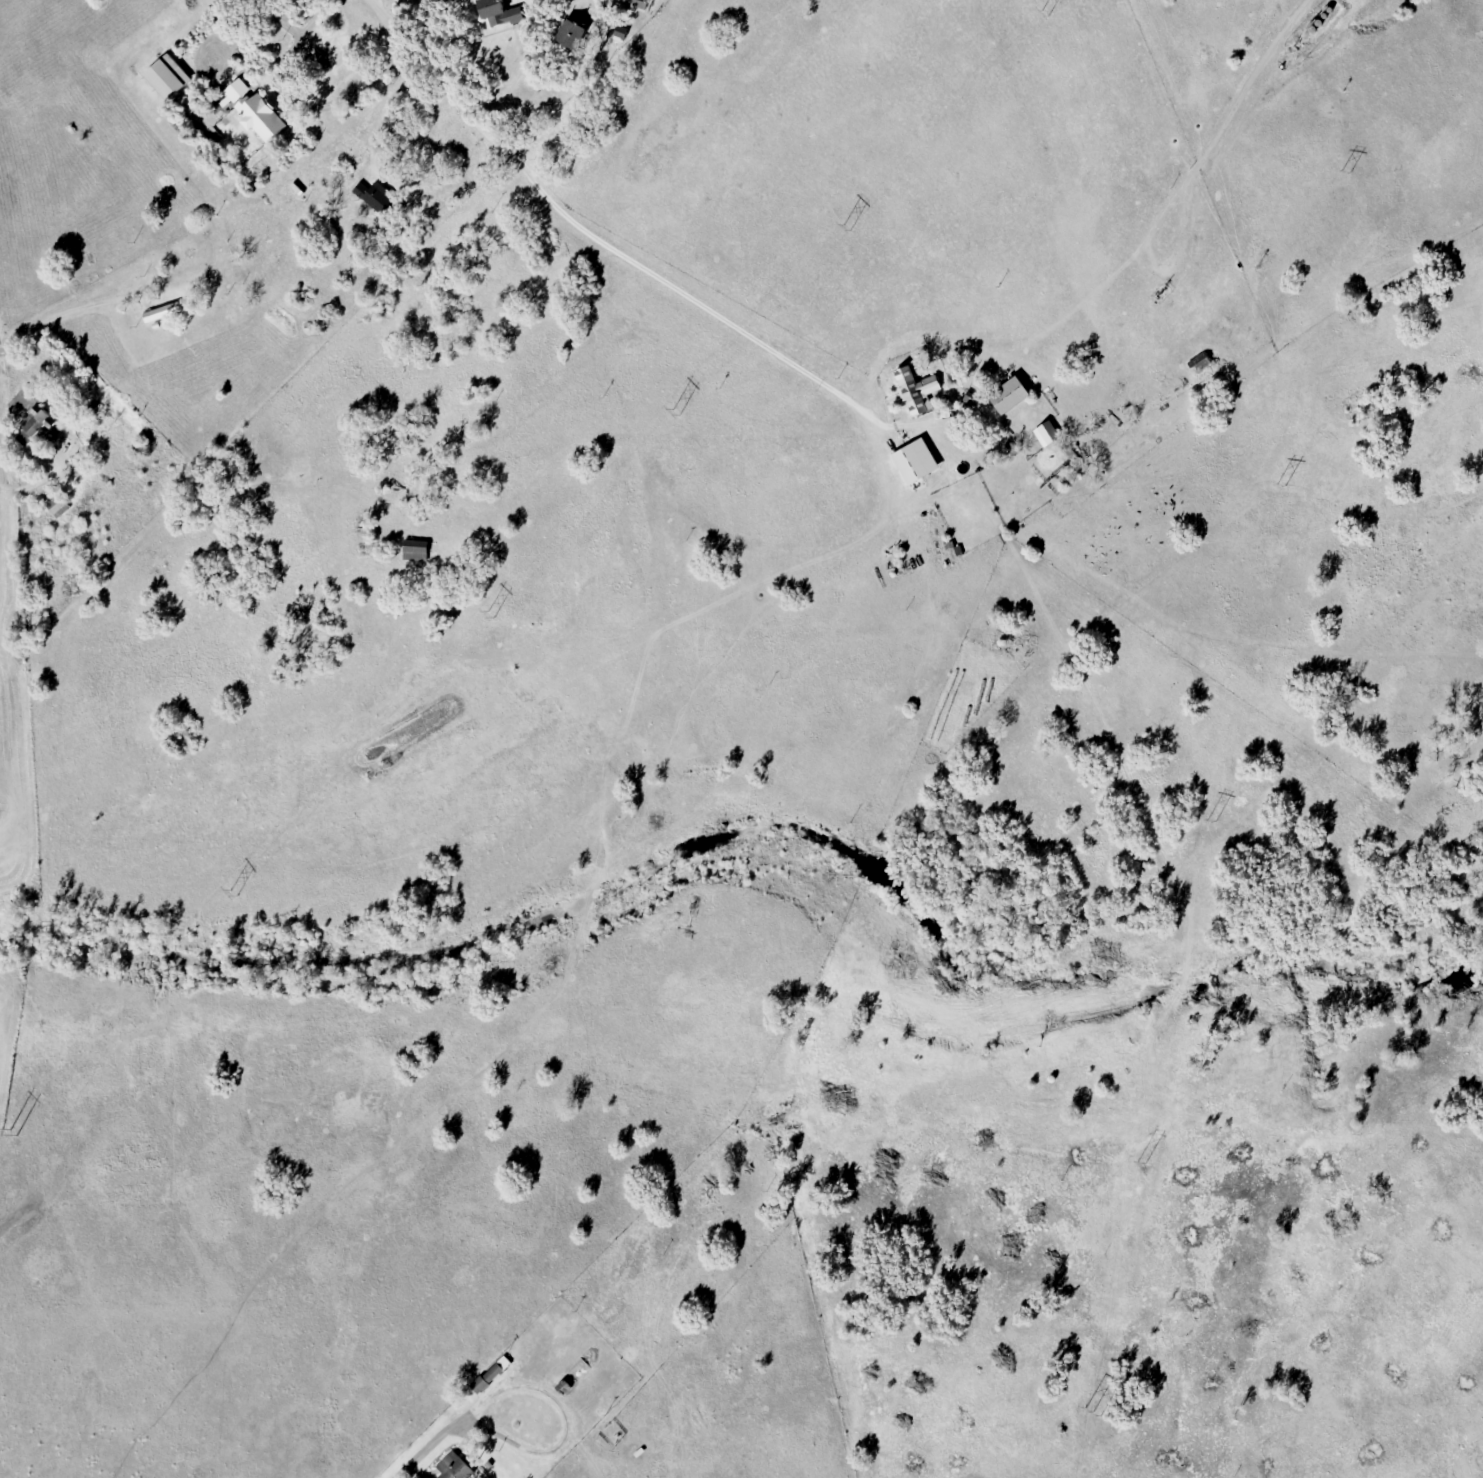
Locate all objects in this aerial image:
building: (499, 14)
power tower: (1044, 14)
building: (330, 71)
road: (434, 74)
building: (170, 77)
building: (264, 118)
power tower: (1344, 171)
power tower: (845, 228)
road: (704, 308)
building: (164, 313)
building: (1200, 371)
building: (922, 388)
building: (1134, 392)
building: (1015, 395)
power tower: (674, 413)
building: (34, 415)
power tower: (1280, 484)
building: (60, 506)
power tower: (489, 613)
power tower: (1211, 820)
power tower: (233, 892)
power tower: (11, 1133)
power tower: (1140, 1162)
power tower: (1092, 1410)
road: (410, 1463)
building: (457, 1468)

